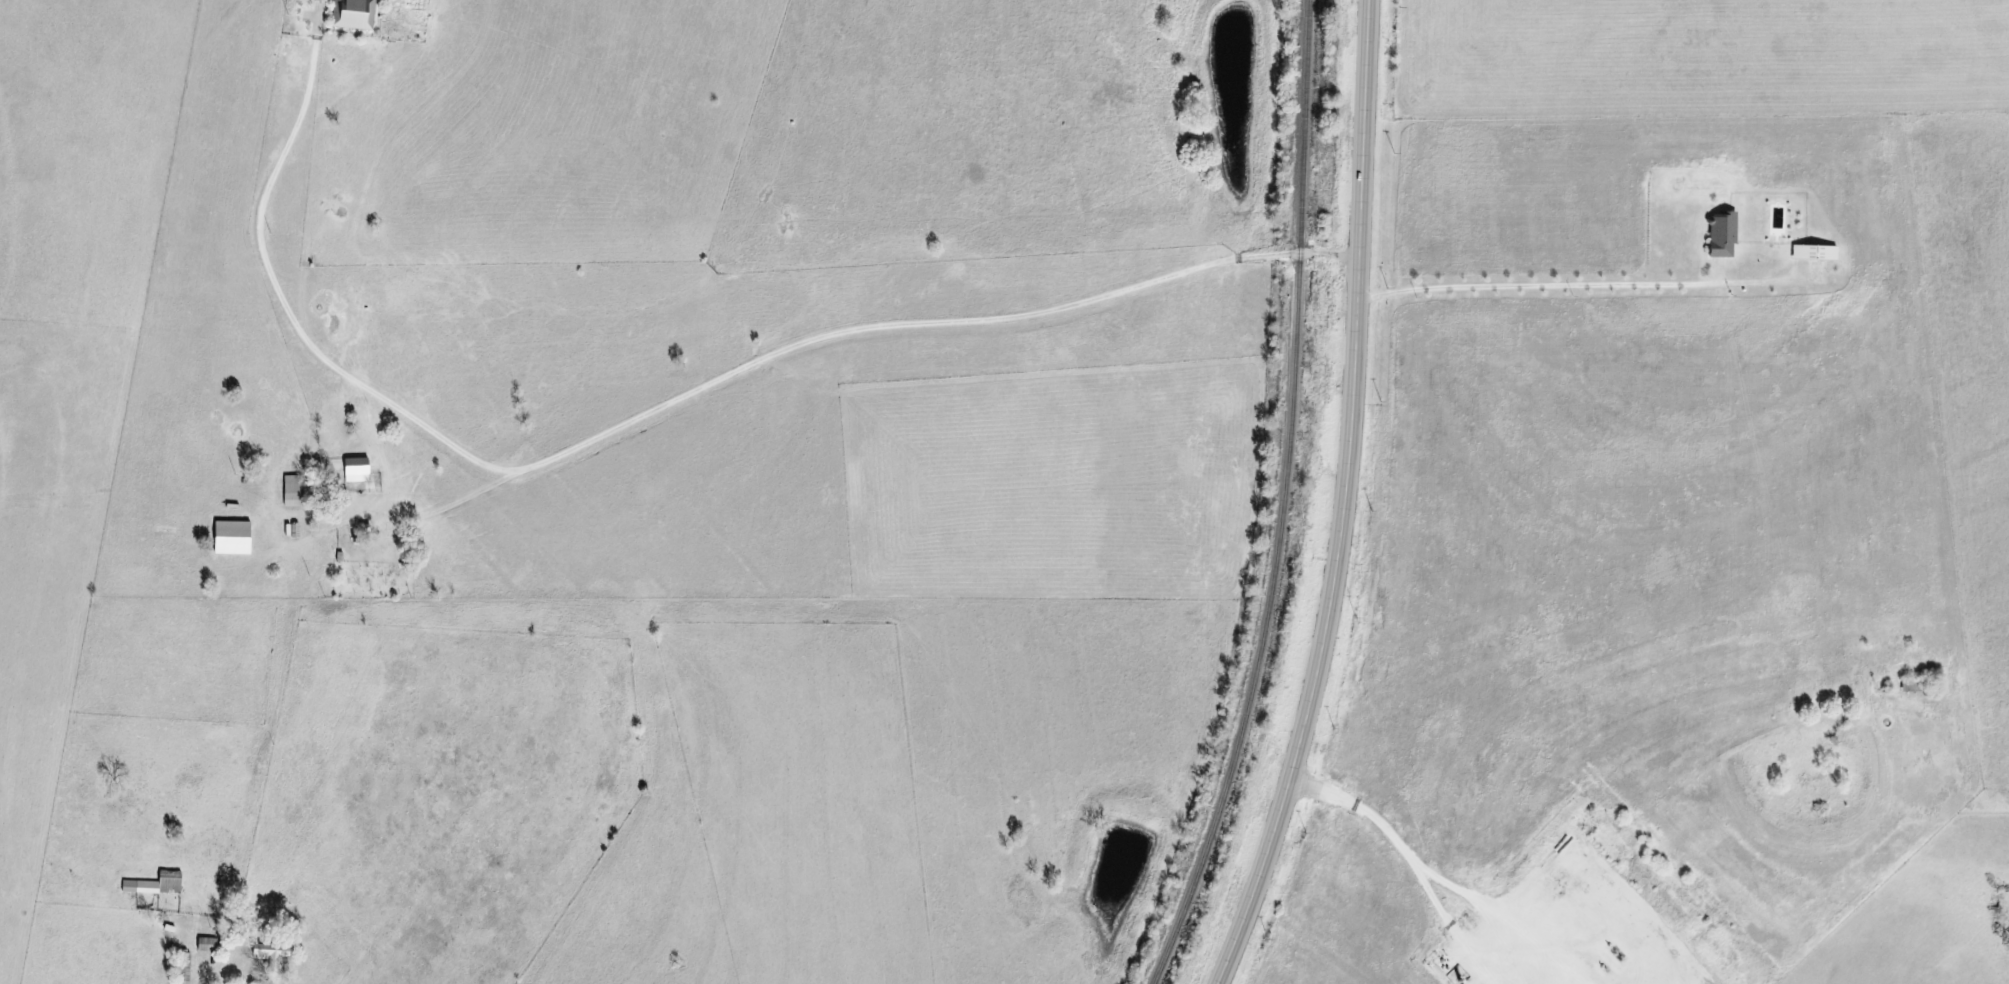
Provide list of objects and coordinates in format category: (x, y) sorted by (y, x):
building: (319, 0)
building: (351, 14)
building: (1720, 235)
building: (1812, 252)
road: (655, 411)
building: (353, 469)
building: (291, 490)
railway: (1283, 501)
road: (1351, 501)
building: (228, 537)
building: (1911, 686)
road: (1403, 869)
building: (153, 884)
building: (204, 944)
building: (268, 955)

